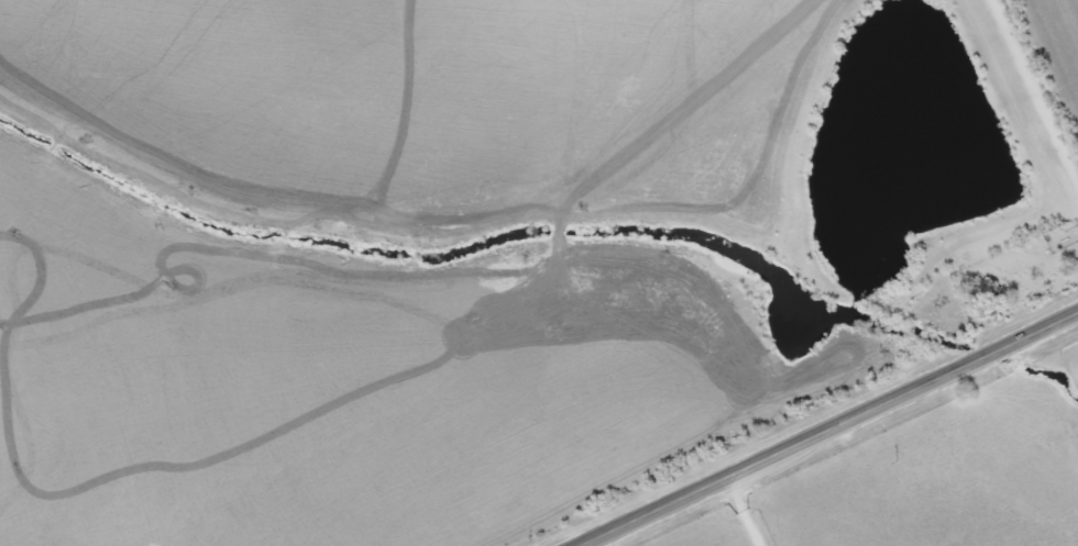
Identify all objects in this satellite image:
road: (1042, 76)
road: (831, 431)
power tower: (890, 463)

